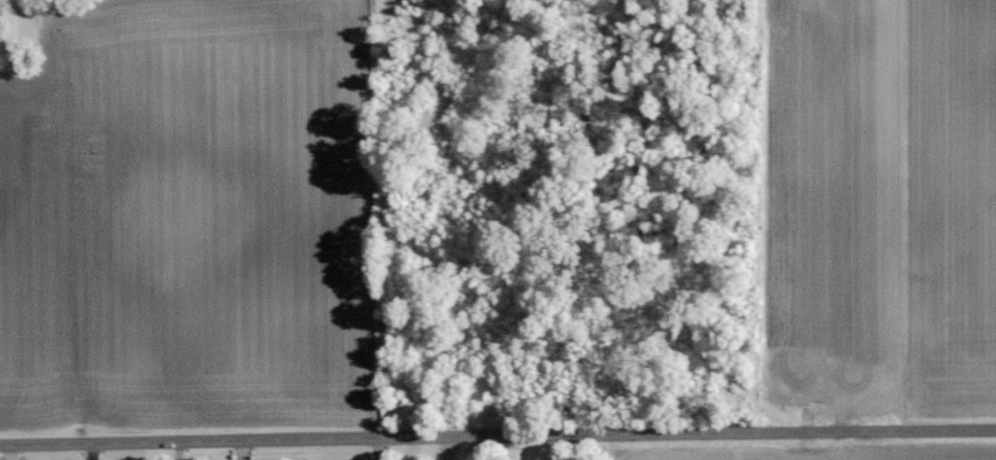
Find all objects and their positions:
road: (497, 436)

